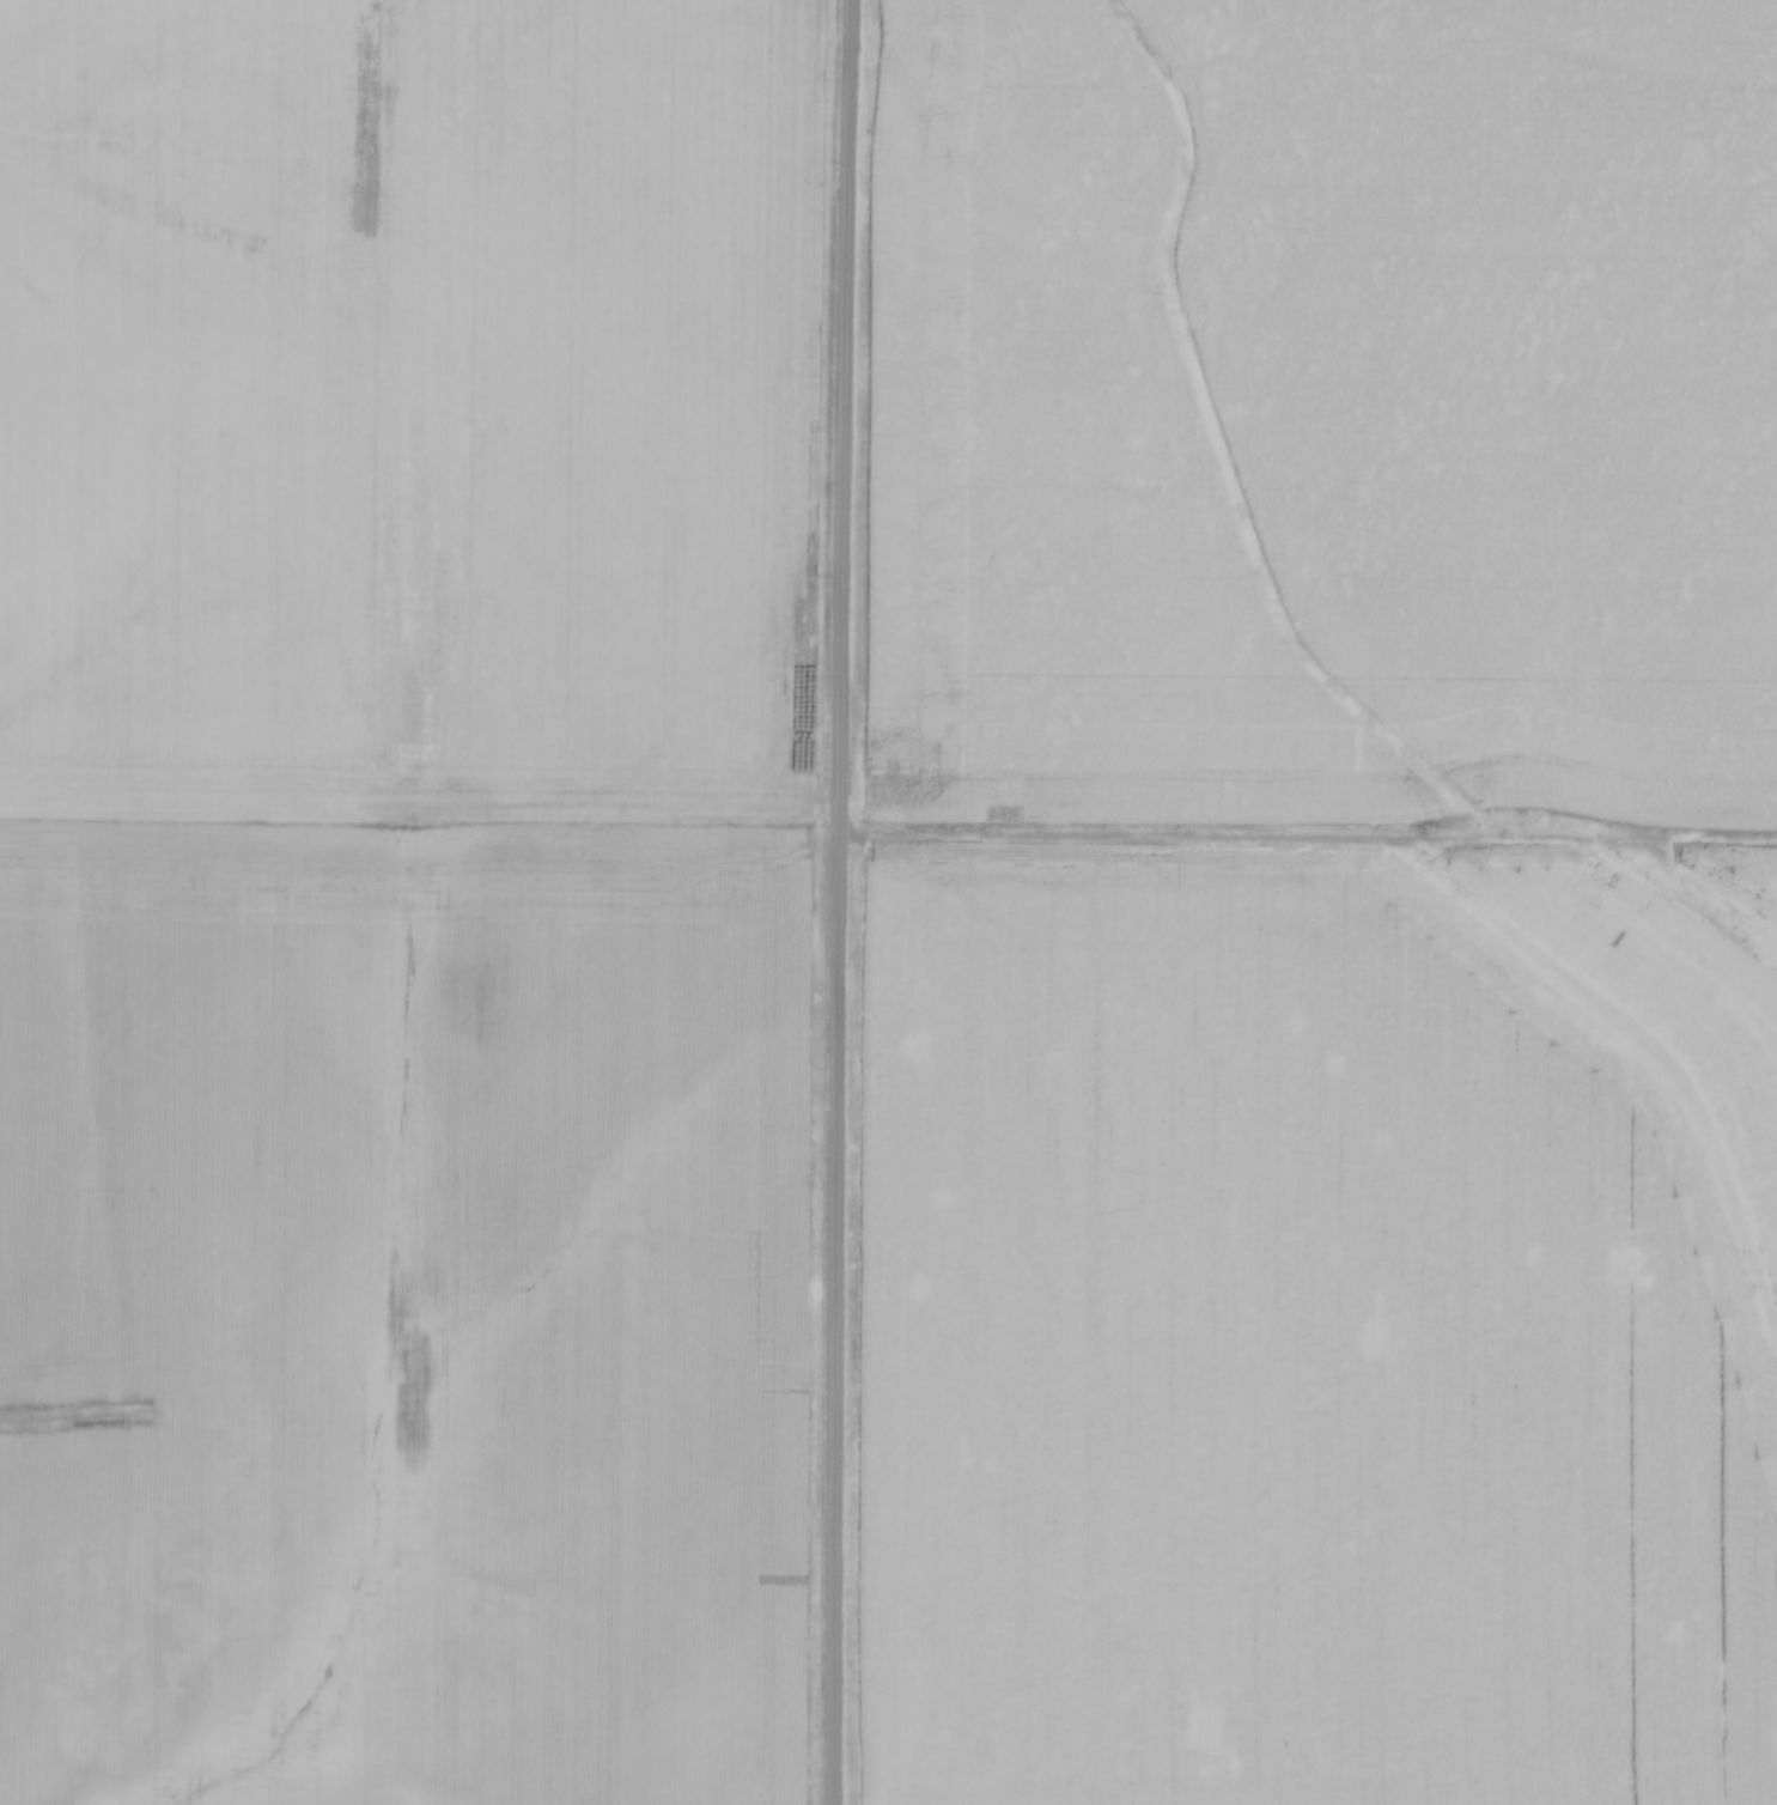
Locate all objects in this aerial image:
road: (835, 901)

